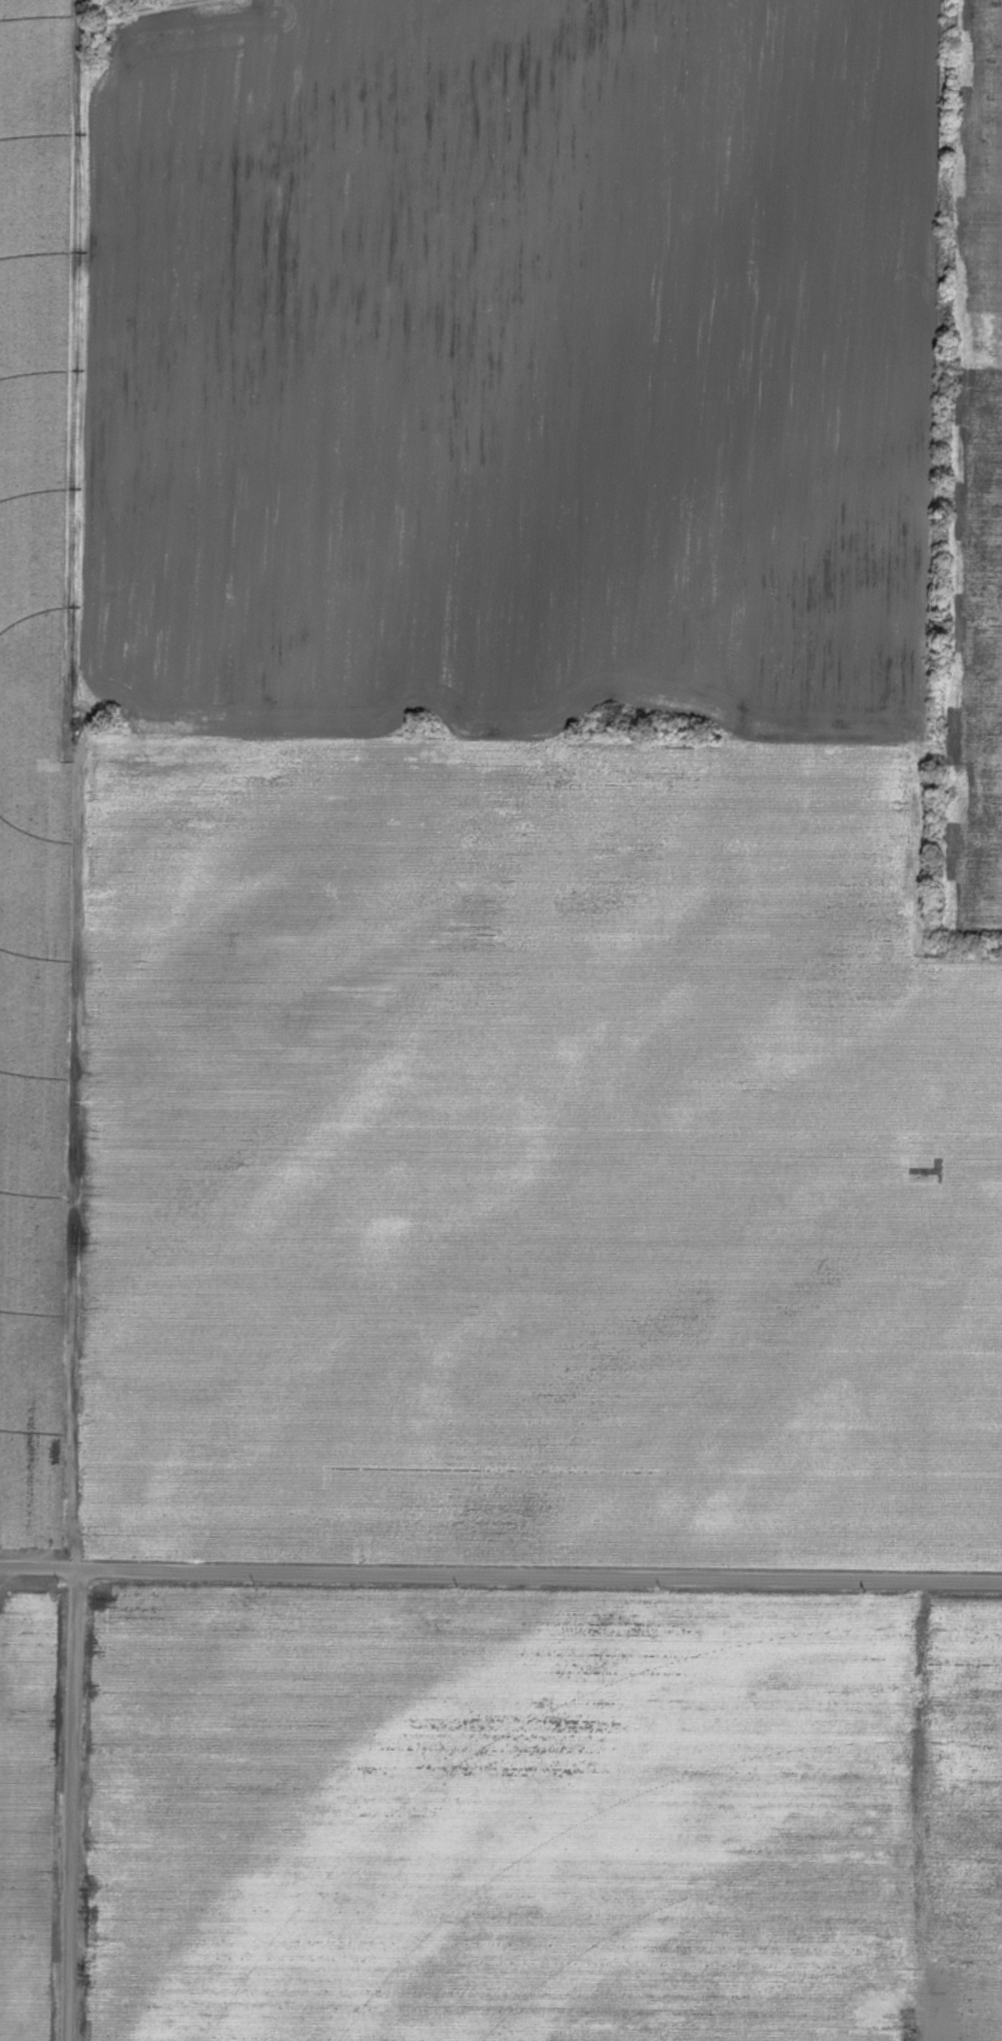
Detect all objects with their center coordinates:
road: (74, 1159)
road: (500, 1573)
road: (0, 1574)
road: (71, 1804)

